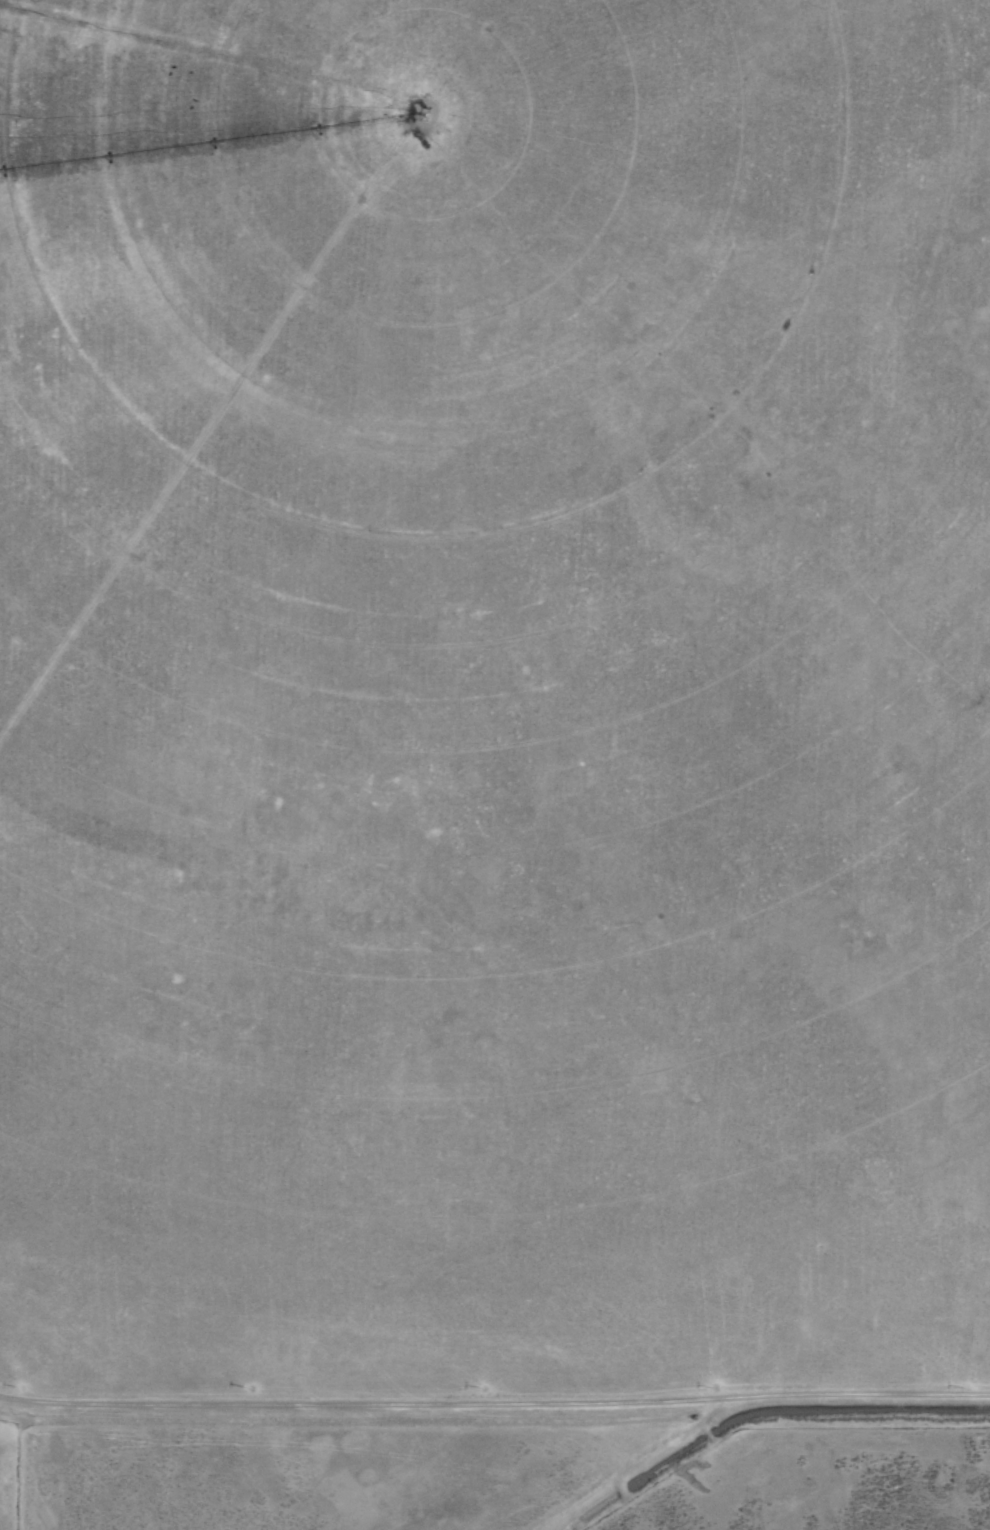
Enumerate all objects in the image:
crop: (495, 765)
road: (494, 1404)

